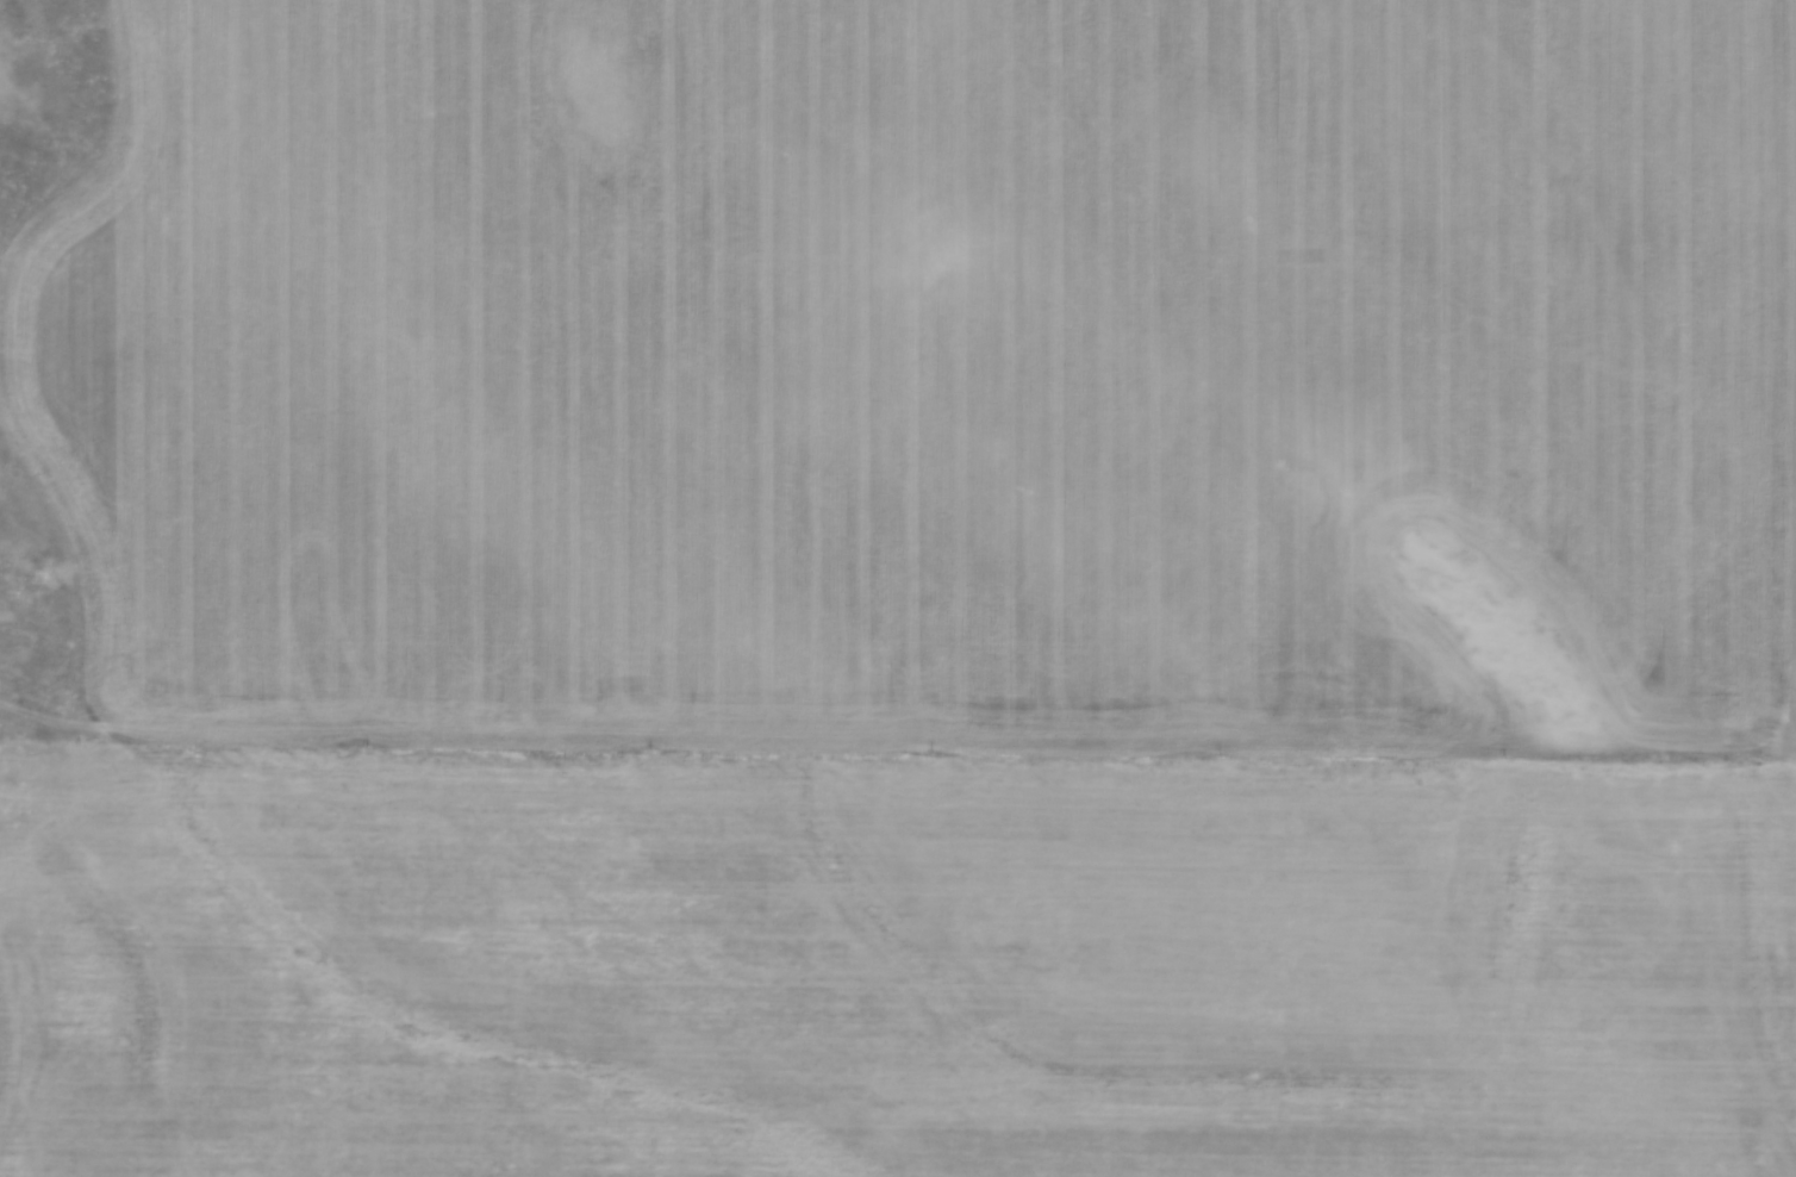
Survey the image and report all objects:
crop: (916, 593)

